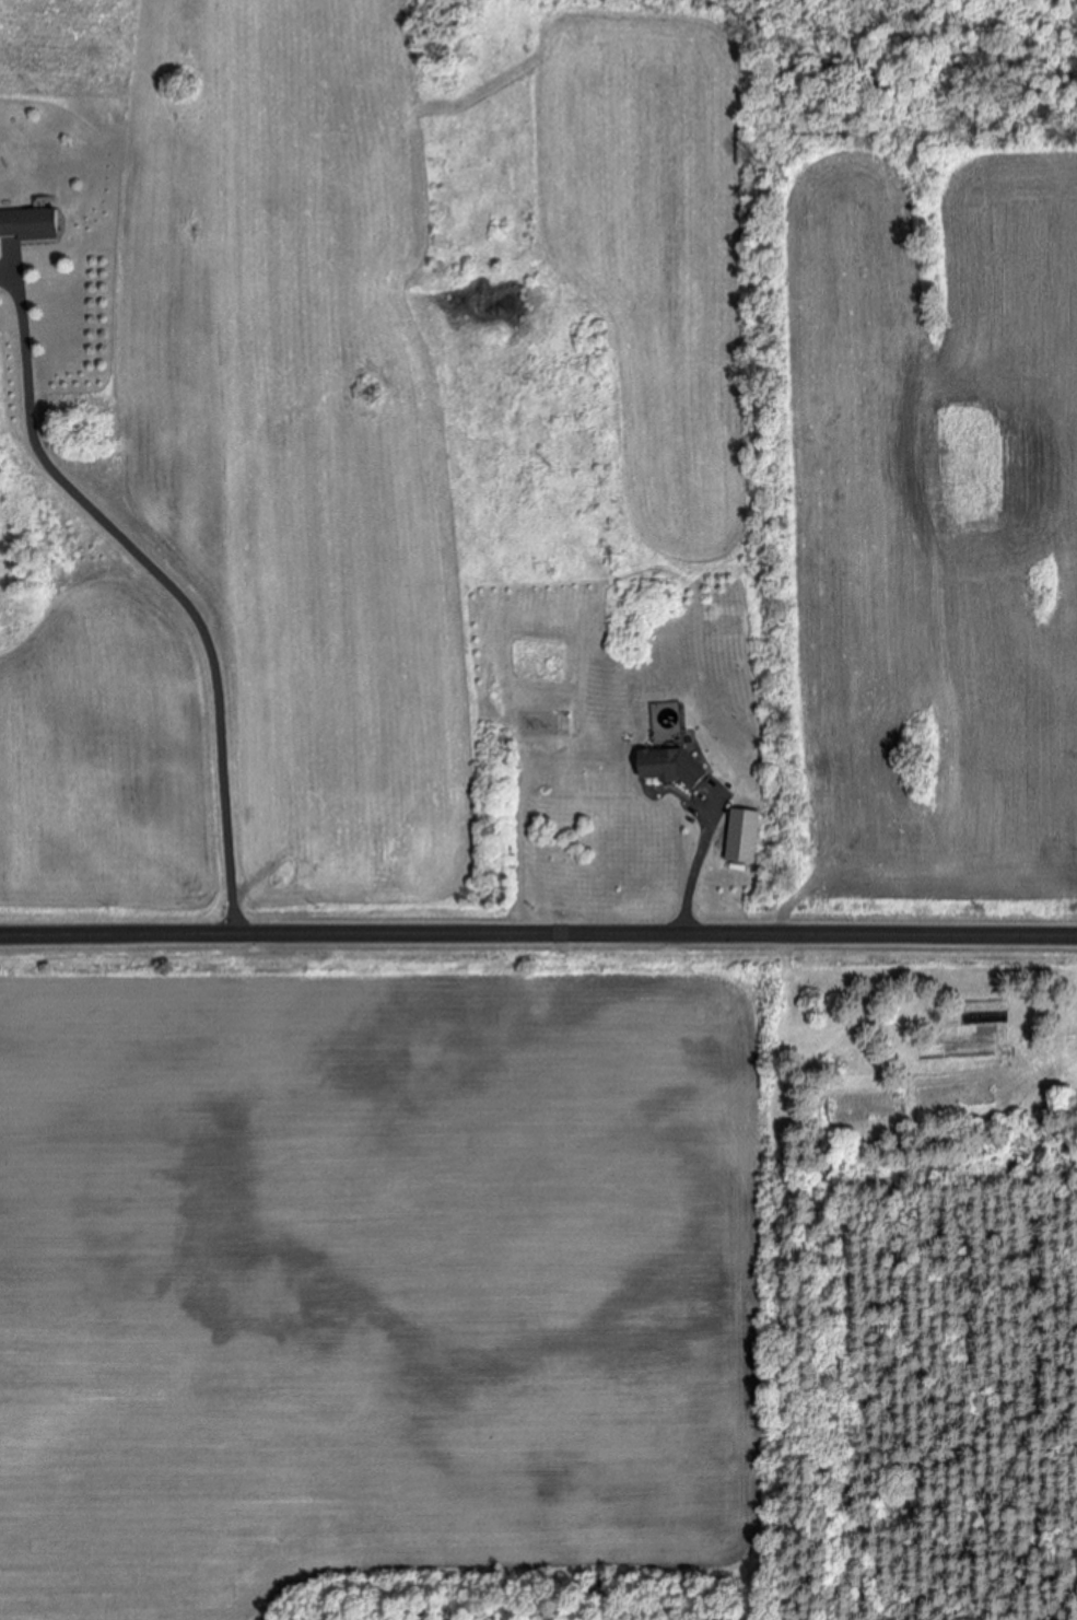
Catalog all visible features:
building: (31, 223)
building: (539, 724)
building: (672, 767)
road: (538, 934)

